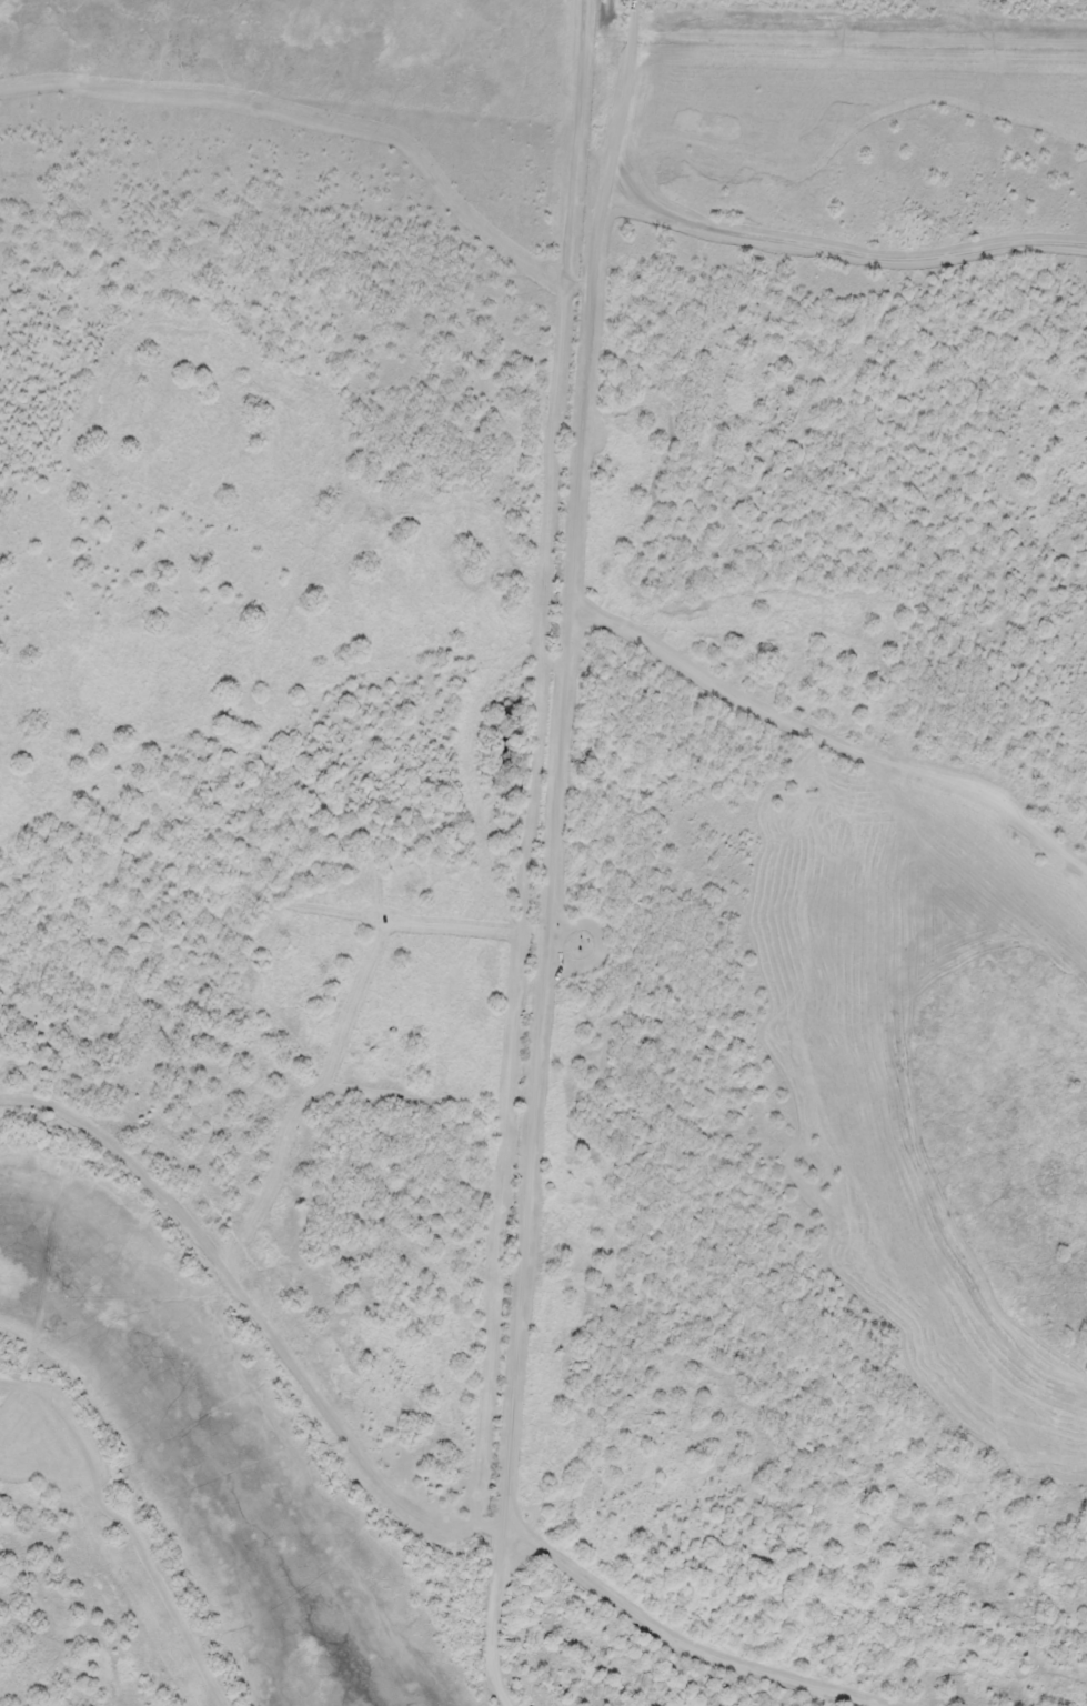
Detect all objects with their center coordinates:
road: (539, 1204)

